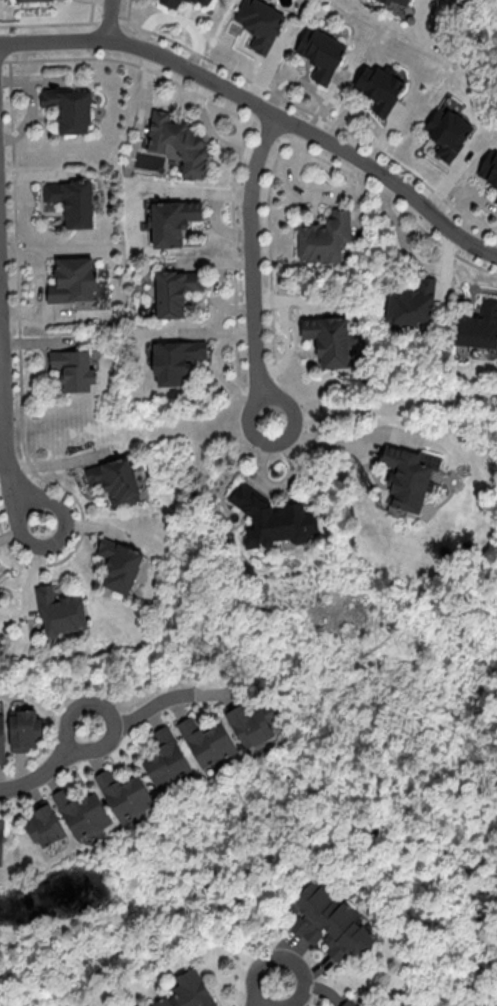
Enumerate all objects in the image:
building: (26, 0)
building: (202, 2)
building: (397, 2)
building: (170, 3)
road: (121, 21)
building: (259, 22)
building: (320, 53)
building: (379, 87)
building: (69, 108)
road: (262, 109)
building: (447, 132)
building: (177, 142)
building: (489, 168)
building: (495, 198)
building: (72, 201)
building: (171, 221)
building: (324, 237)
road: (253, 266)
building: (73, 280)
building: (175, 290)
building: (411, 303)
building: (478, 326)
building: (328, 339)
building: (175, 360)
building: (73, 369)
road: (7, 417)
road: (332, 440)
building: (115, 480)
building: (272, 518)
building: (119, 564)
building: (60, 611)
road: (104, 708)
road: (151, 708)
building: (255, 724)
building: (24, 729)
building: (206, 741)
building: (166, 759)
road: (37, 775)
building: (124, 794)
building: (81, 812)
building: (44, 823)
building: (1, 840)
building: (329, 921)
building: (186, 992)
road: (267, 993)
building: (348, 1003)
building: (369, 1004)

